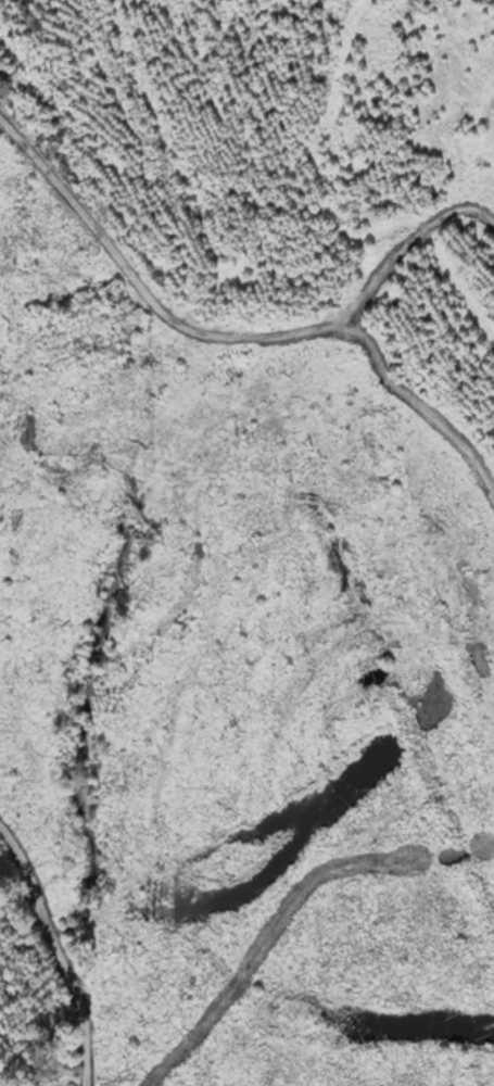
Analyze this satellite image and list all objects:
road: (25, 984)

